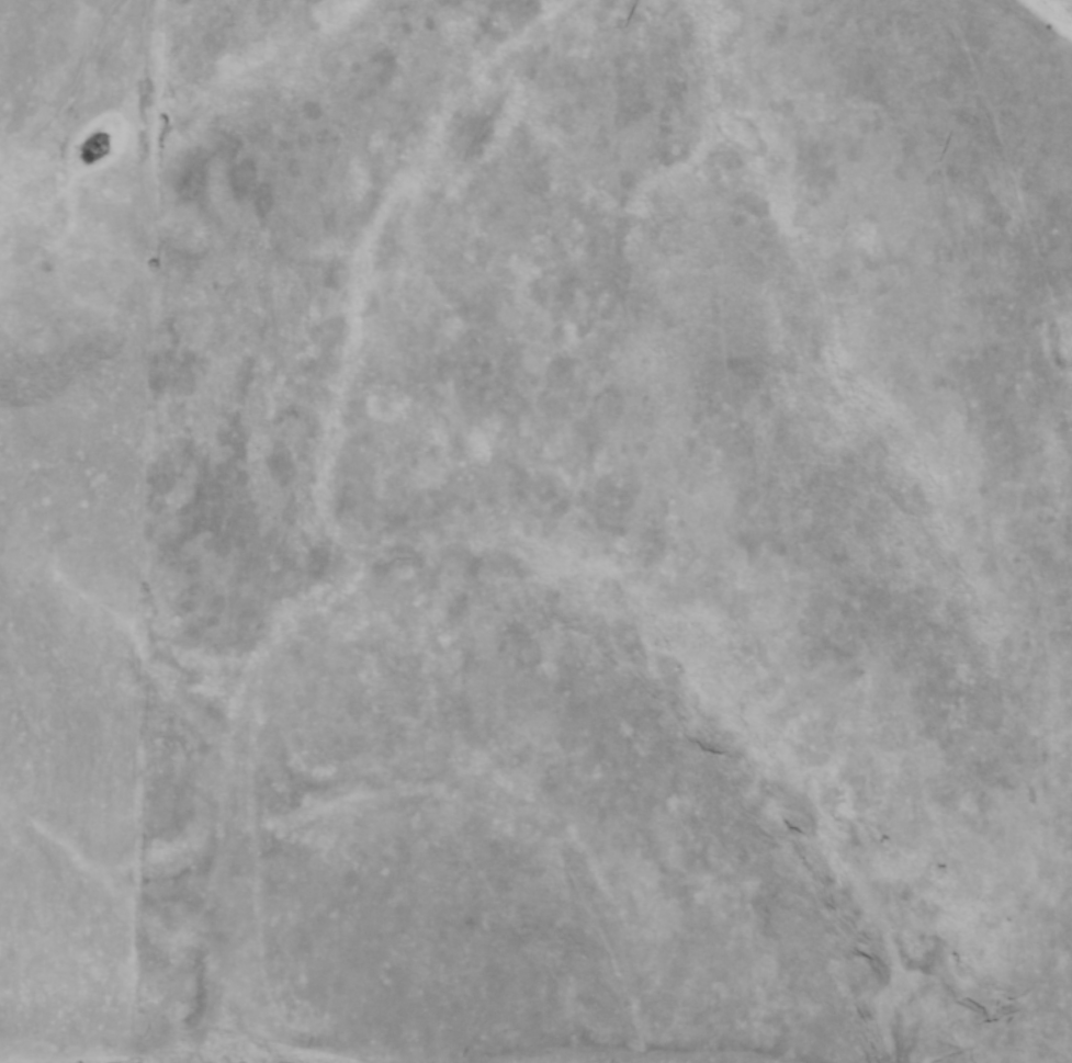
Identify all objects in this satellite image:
power tower: (627, 15)
power tower: (945, 149)

